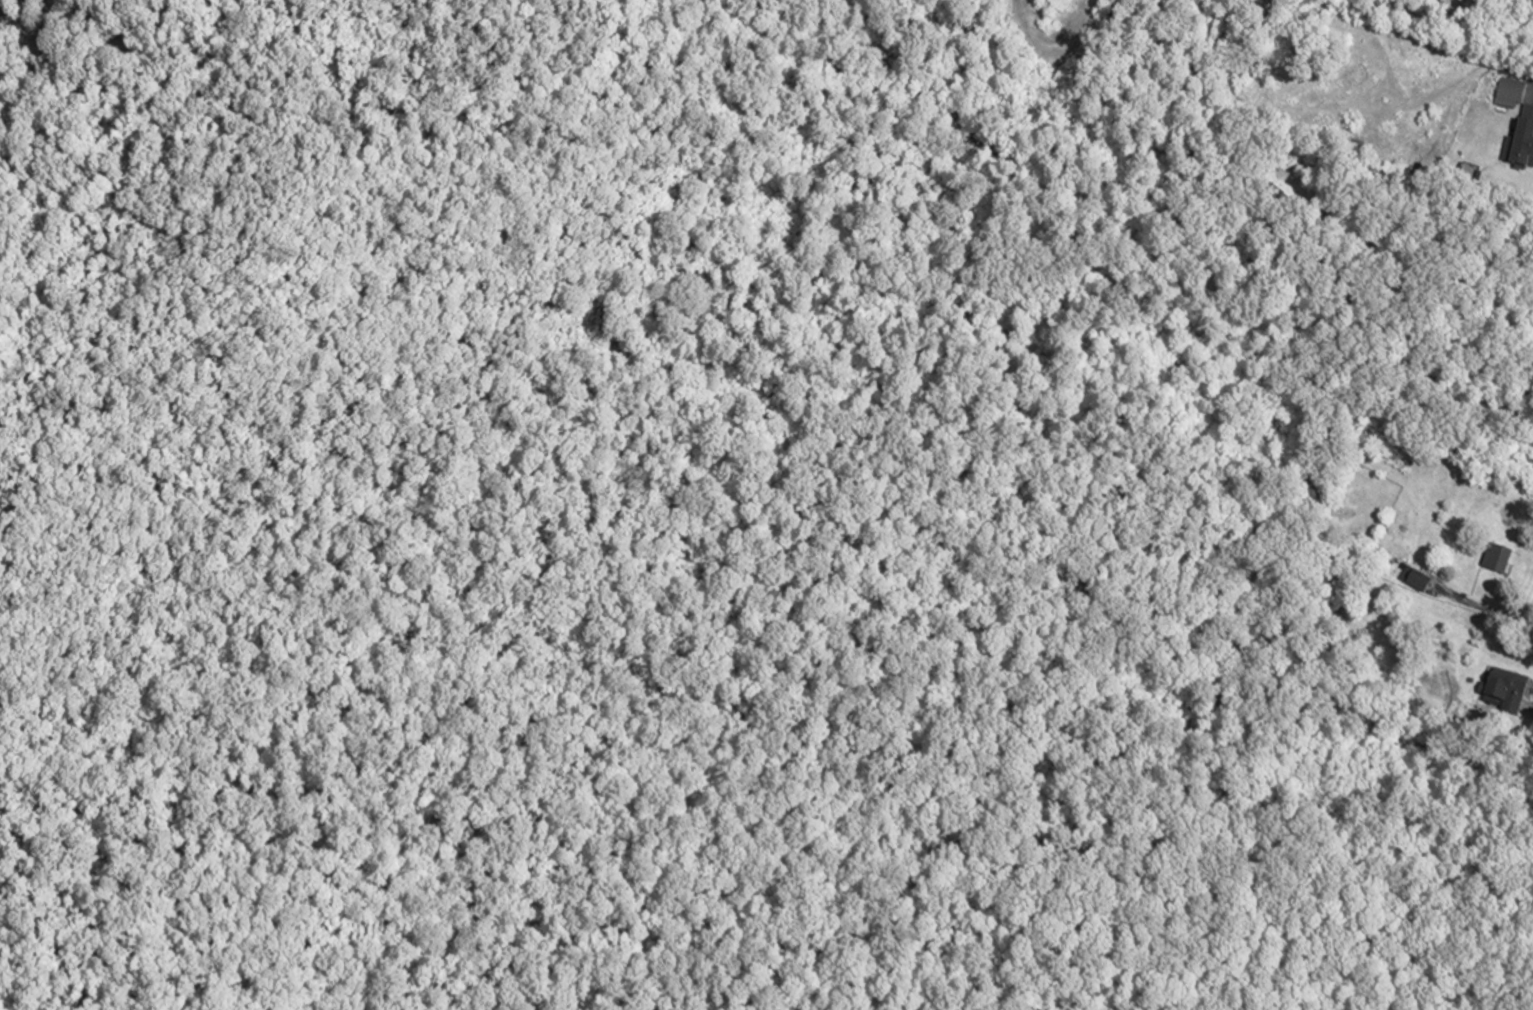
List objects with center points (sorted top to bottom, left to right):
road: (285, 43)
road: (52, 51)
road: (1522, 74)
building: (1510, 93)
building: (1521, 144)
building: (1497, 560)
building: (1388, 565)
building: (1416, 580)
road: (1483, 607)
building: (1507, 692)
road: (1532, 706)

